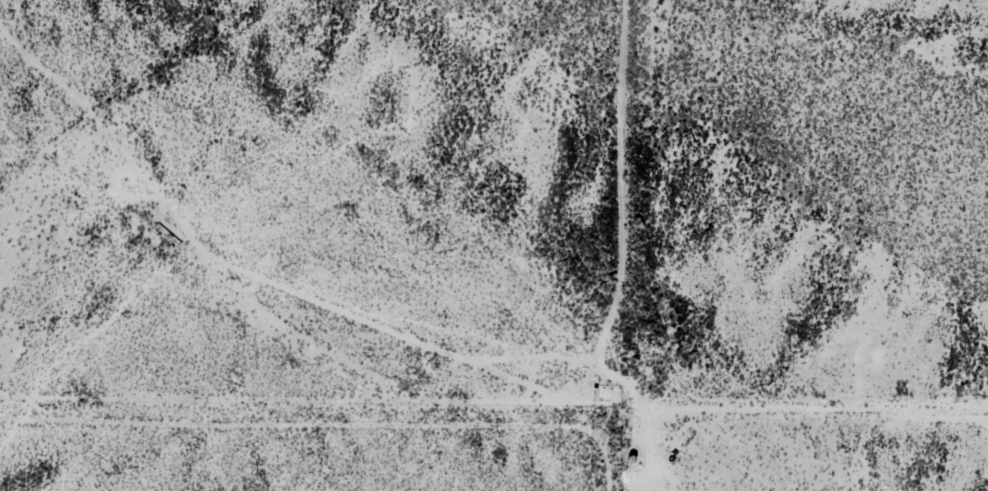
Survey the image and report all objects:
road: (611, 245)
road: (493, 422)

